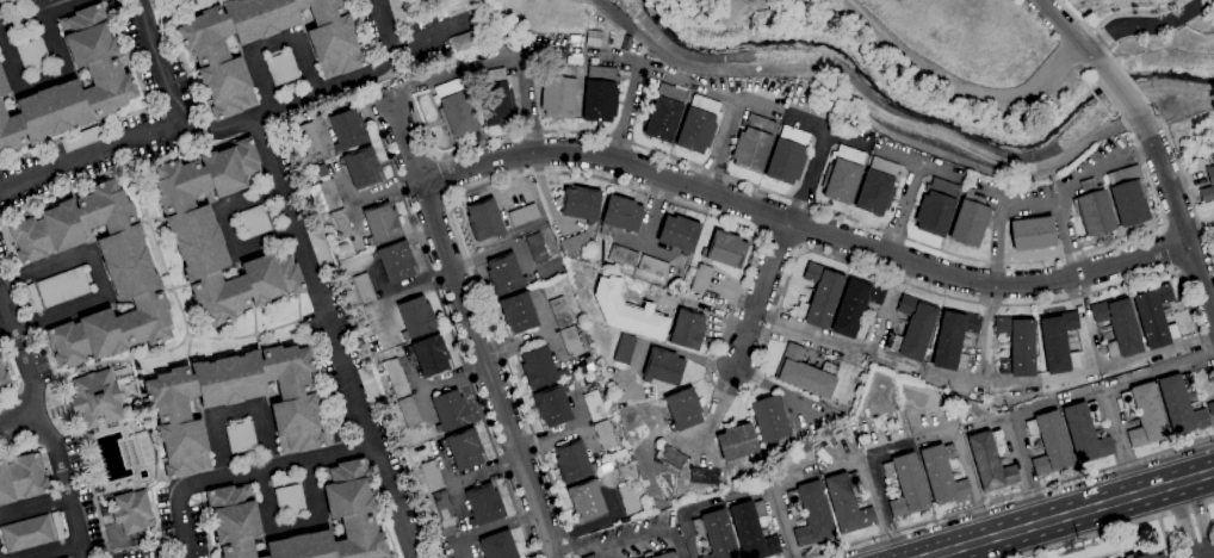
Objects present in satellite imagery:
building: (150, 0)
building: (5, 1)
road: (39, 6)
building: (14, 7)
building: (397, 8)
building: (725, 10)
road: (36, 13)
road: (1144, 25)
road: (1085, 30)
road: (1070, 33)
building: (25, 36)
road: (427, 38)
building: (466, 42)
road: (273, 45)
building: (32, 55)
road: (498, 60)
building: (341, 61)
road: (161, 64)
building: (281, 68)
road: (45, 77)
road: (1129, 83)
building: (2, 86)
building: (72, 86)
road: (954, 87)
building: (289, 88)
road: (636, 88)
road: (1116, 88)
building: (558, 91)
building: (600, 94)
road: (736, 99)
building: (497, 103)
road: (863, 103)
road: (752, 105)
building: (664, 113)
building: (699, 124)
road: (230, 126)
building: (348, 130)
building: (309, 138)
building: (80, 139)
building: (752, 143)
building: (788, 156)
road: (1101, 163)
building: (361, 168)
building: (843, 175)
building: (1210, 175)
road: (811, 178)
road: (1183, 185)
building: (878, 187)
road: (775, 193)
building: (329, 194)
building: (1128, 196)
building: (581, 204)
building: (937, 206)
building: (1094, 209)
road: (902, 210)
road: (1177, 212)
building: (272, 215)
building: (522, 215)
building: (620, 216)
road: (999, 217)
building: (484, 221)
building: (971, 221)
building: (253, 222)
building: (340, 224)
building: (382, 224)
road: (803, 225)
road: (228, 228)
building: (219, 234)
building: (679, 234)
building: (1033, 234)
road: (1067, 236)
building: (574, 243)
building: (317, 246)
building: (537, 248)
building: (725, 250)
road: (1165, 252)
building: (623, 256)
building: (395, 261)
building: (652, 266)
building: (130, 273)
building: (504, 274)
road: (99, 278)
building: (701, 279)
building: (62, 287)
building: (364, 287)
road: (760, 292)
building: (33, 297)
building: (819, 297)
building: (654, 305)
road: (732, 305)
road: (888, 308)
building: (855, 309)
building: (519, 312)
building: (559, 312)
road: (11, 315)
building: (1154, 316)
building: (415, 318)
road: (448, 325)
building: (1119, 328)
building: (912, 329)
building: (687, 330)
road: (7, 331)
road: (473, 333)
road: (984, 334)
building: (953, 339)
building: (570, 341)
building: (1058, 342)
building: (1016, 346)
building: (624, 349)
building: (429, 355)
building: (663, 367)
building: (539, 368)
building: (804, 374)
building: (4, 377)
building: (396, 378)
road: (980, 384)
building: (137, 386)
building: (370, 386)
road: (1105, 386)
building: (390, 392)
road: (1079, 395)
building: (97, 398)
building: (233, 403)
building: (1181, 404)
building: (594, 405)
road: (359, 407)
building: (552, 407)
building: (682, 409)
road: (234, 410)
building: (409, 411)
building: (451, 411)
road: (31, 413)
building: (1145, 415)
road: (16, 420)
building: (770, 421)
road: (993, 421)
building: (1085, 433)
building: (605, 435)
building: (241, 438)
building: (736, 444)
building: (1049, 444)
building: (144, 448)
building: (463, 449)
road: (1017, 449)
building: (670, 457)
building: (244, 458)
building: (990, 461)
building: (571, 463)
road: (965, 470)
road: (1206, 472)
building: (942, 475)
building: (432, 476)
building: (705, 476)
building: (21, 478)
building: (285, 479)
road: (1184, 479)
road: (785, 482)
building: (905, 485)
road: (878, 488)
road: (868, 492)
road: (1131, 494)
road: (736, 496)
road: (1011, 497)
building: (290, 500)
building: (586, 500)
building: (628, 500)
road: (394, 503)
building: (847, 503)
road: (35, 504)
building: (484, 506)
building: (349, 507)
building: (444, 509)
building: (132, 511)
building: (811, 514)
road: (1195, 514)
road: (74, 515)
road: (1182, 517)
building: (234, 520)
road: (291, 525)
building: (57, 526)
road: (490, 529)
road: (1117, 529)
building: (751, 531)
road: (1004, 532)
building: (26, 533)
building: (716, 534)
road: (623, 539)
building: (497, 546)
road: (986, 548)
road: (57, 551)
road: (1200, 553)
building: (661, 554)
building: (1144, 556)
building: (589, 557)

